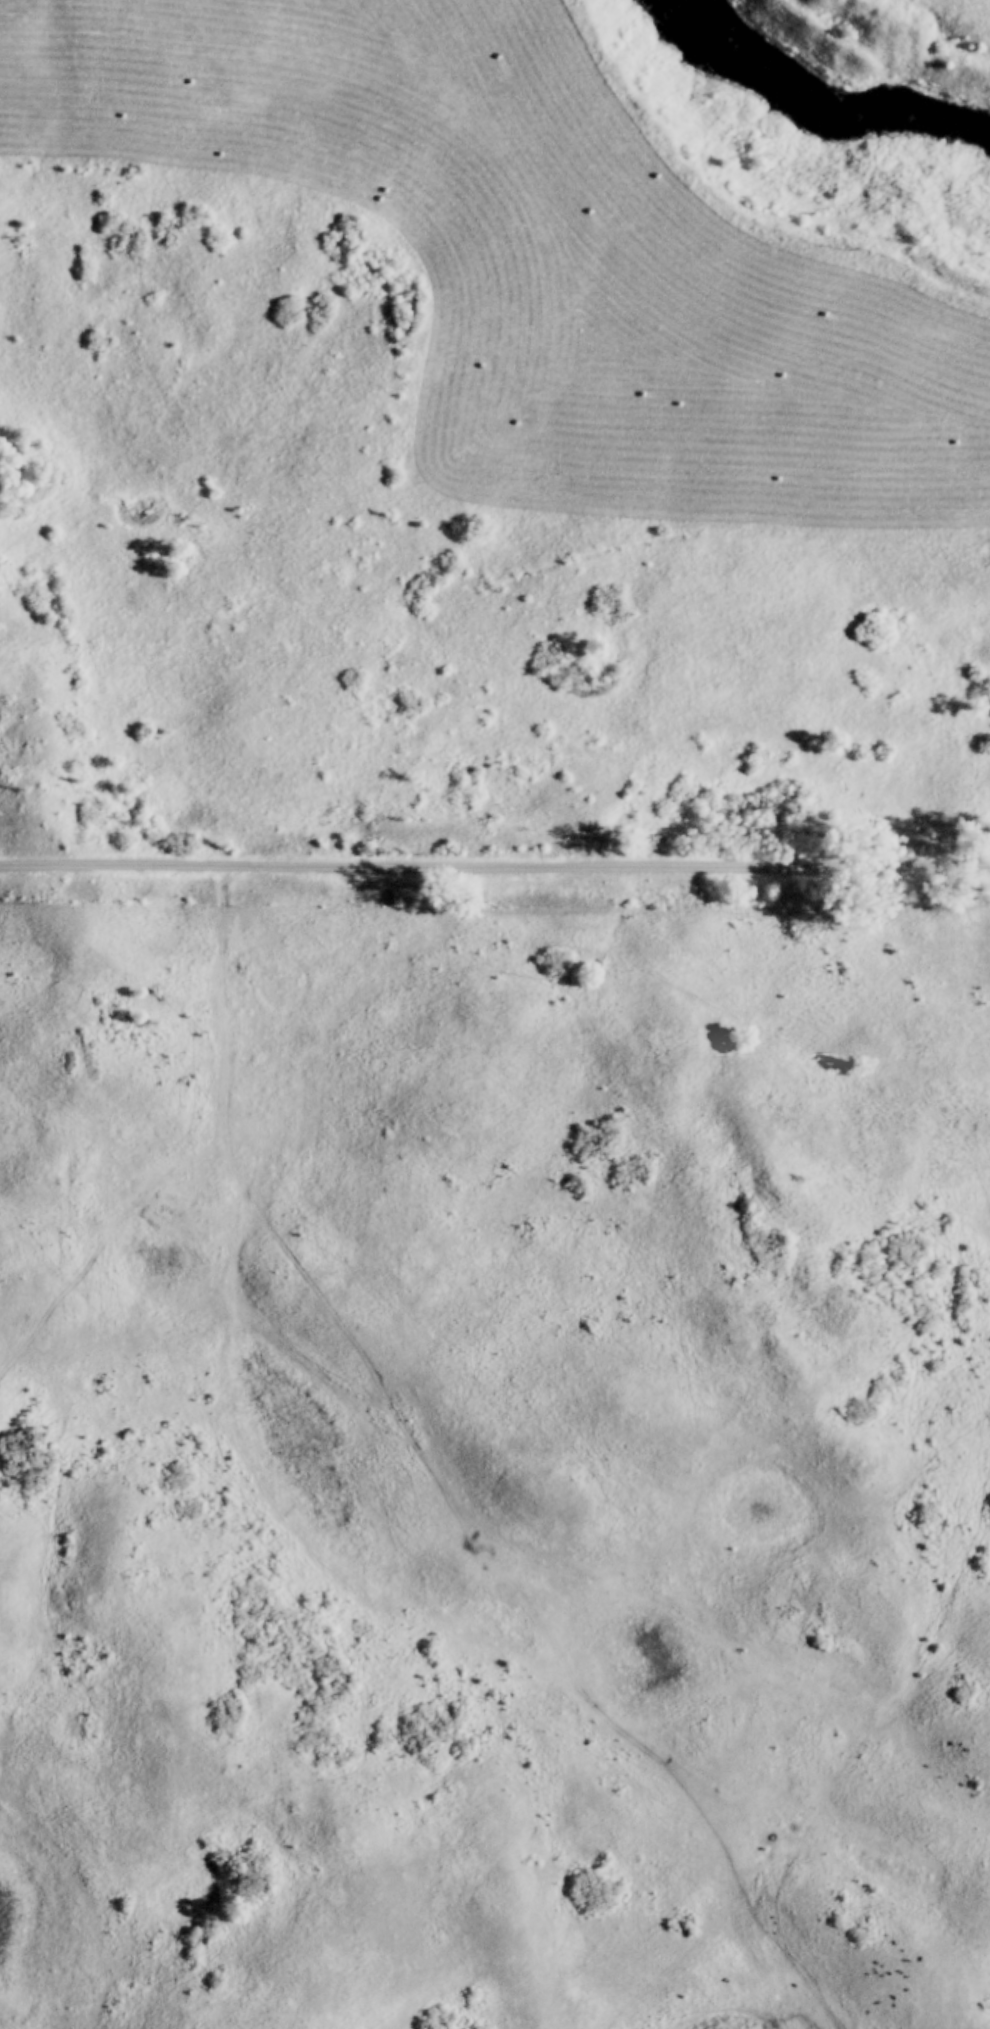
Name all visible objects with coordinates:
quarry: (830, 112)
road: (494, 867)

